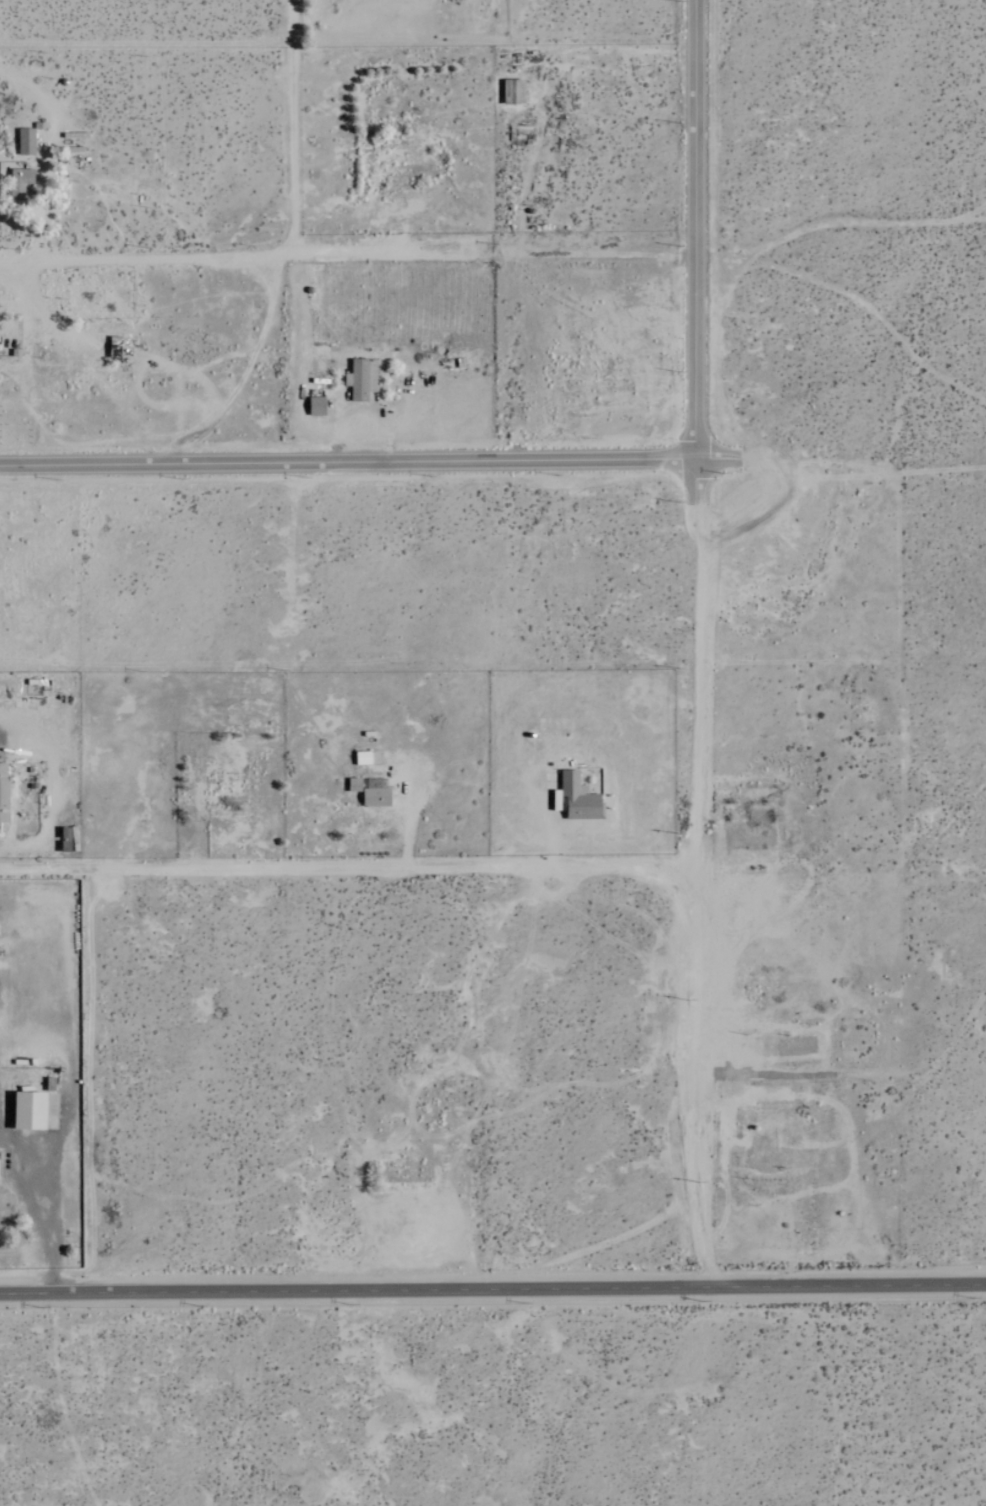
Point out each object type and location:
building: (24, 142)
building: (19, 181)
road: (38, 216)
road: (694, 230)
road: (347, 254)
building: (359, 381)
building: (314, 407)
road: (718, 460)
road: (347, 463)
road: (695, 483)
building: (361, 759)
building: (352, 786)
building: (3, 794)
building: (374, 799)
building: (576, 799)
road: (353, 852)
road: (703, 893)
building: (26, 1112)
road: (35, 1213)
road: (492, 1286)

